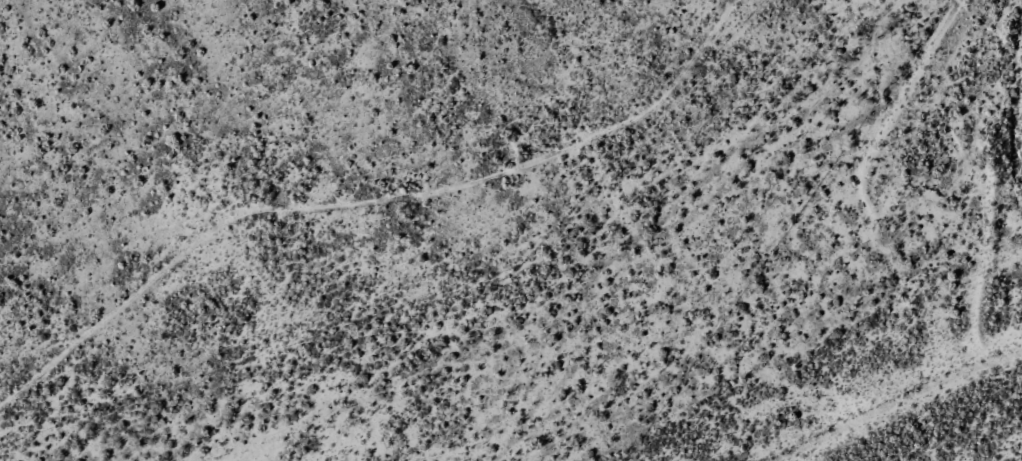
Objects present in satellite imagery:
road: (375, 211)

